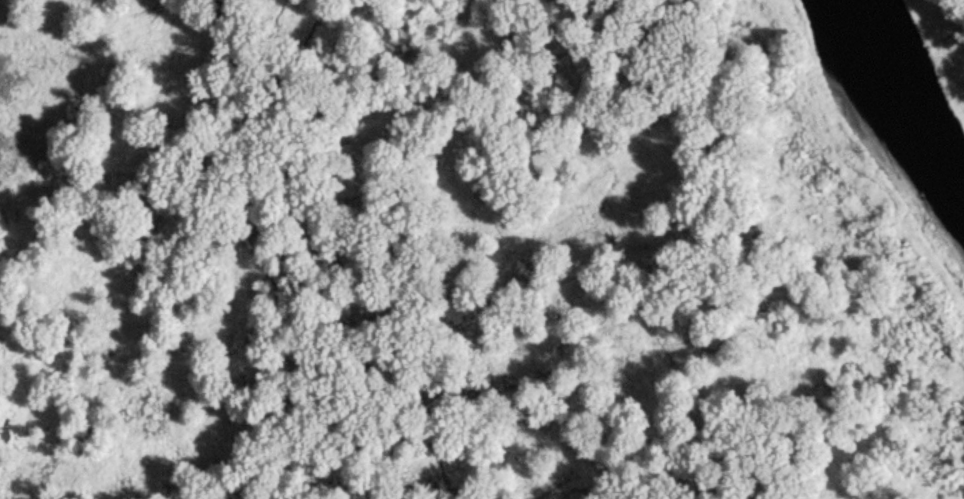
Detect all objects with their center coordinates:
river: (900, 108)

